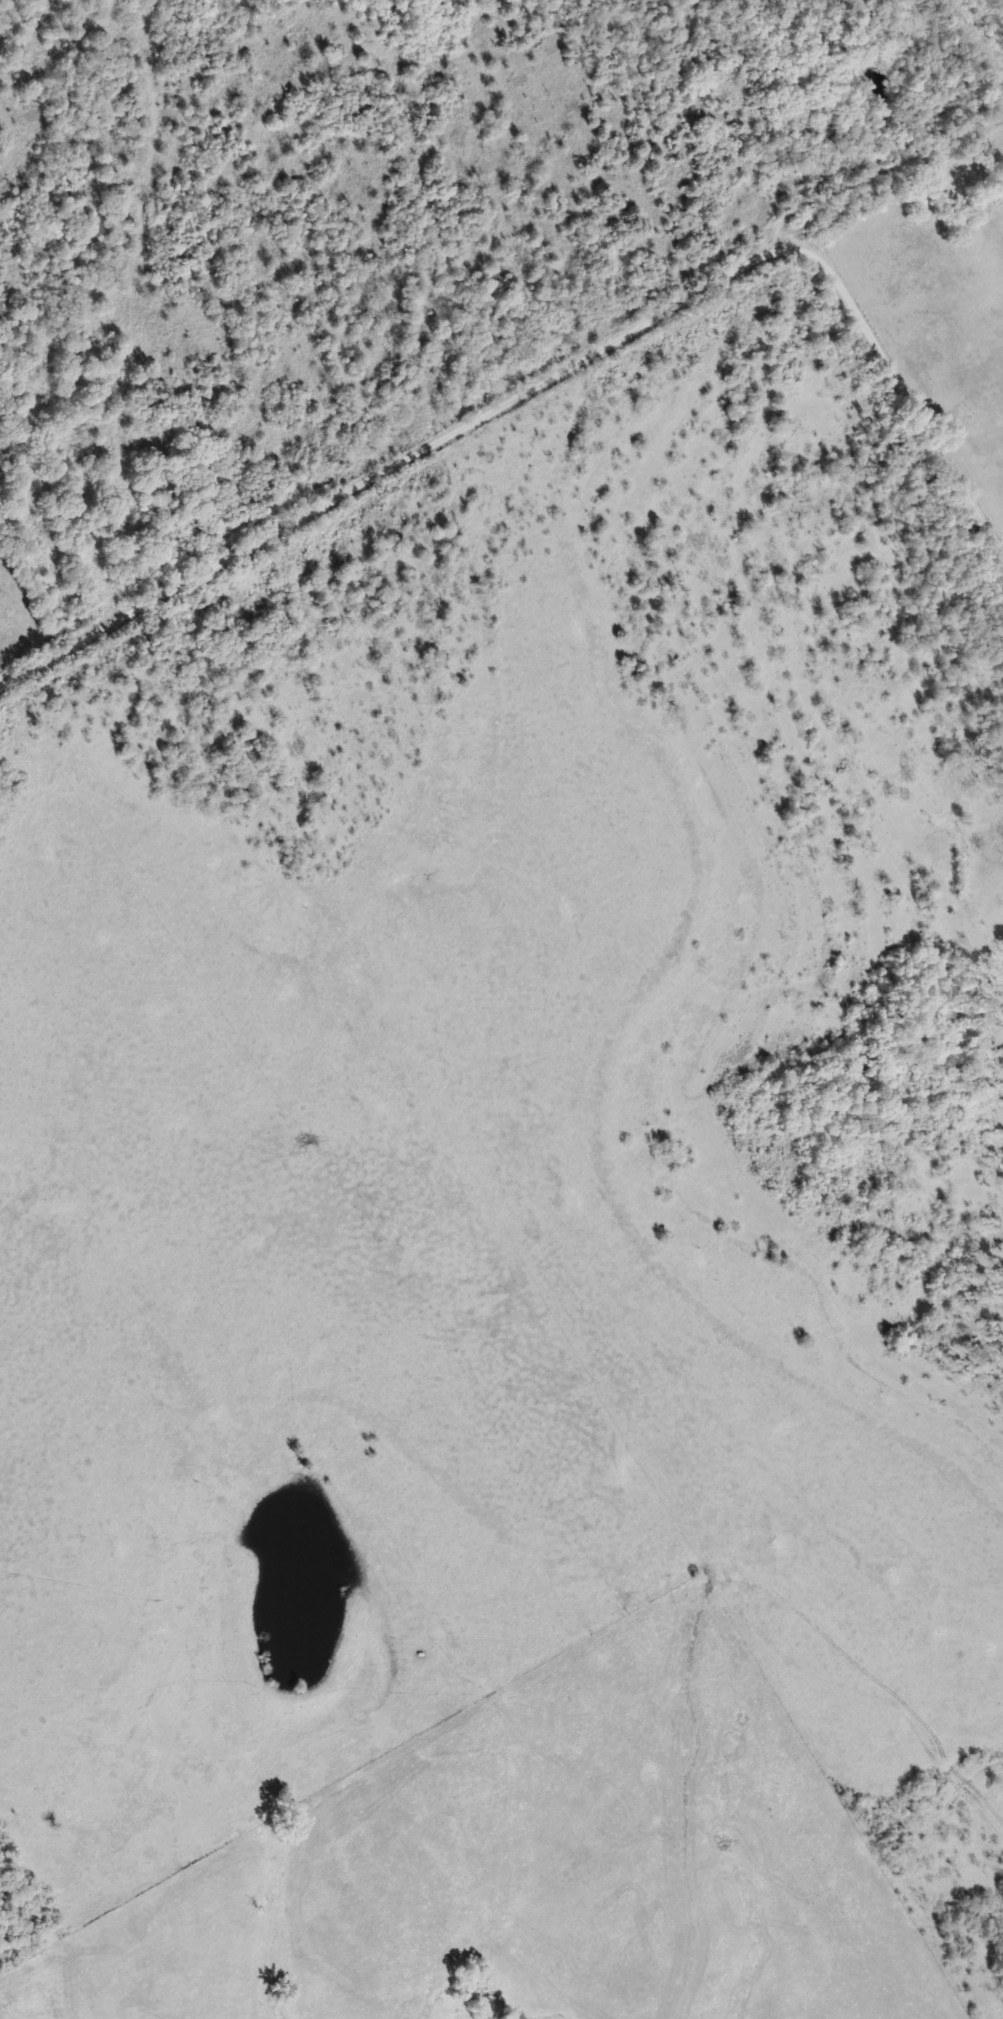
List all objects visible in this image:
road: (879, 172)
road: (898, 389)
road: (156, 423)
road: (387, 467)

